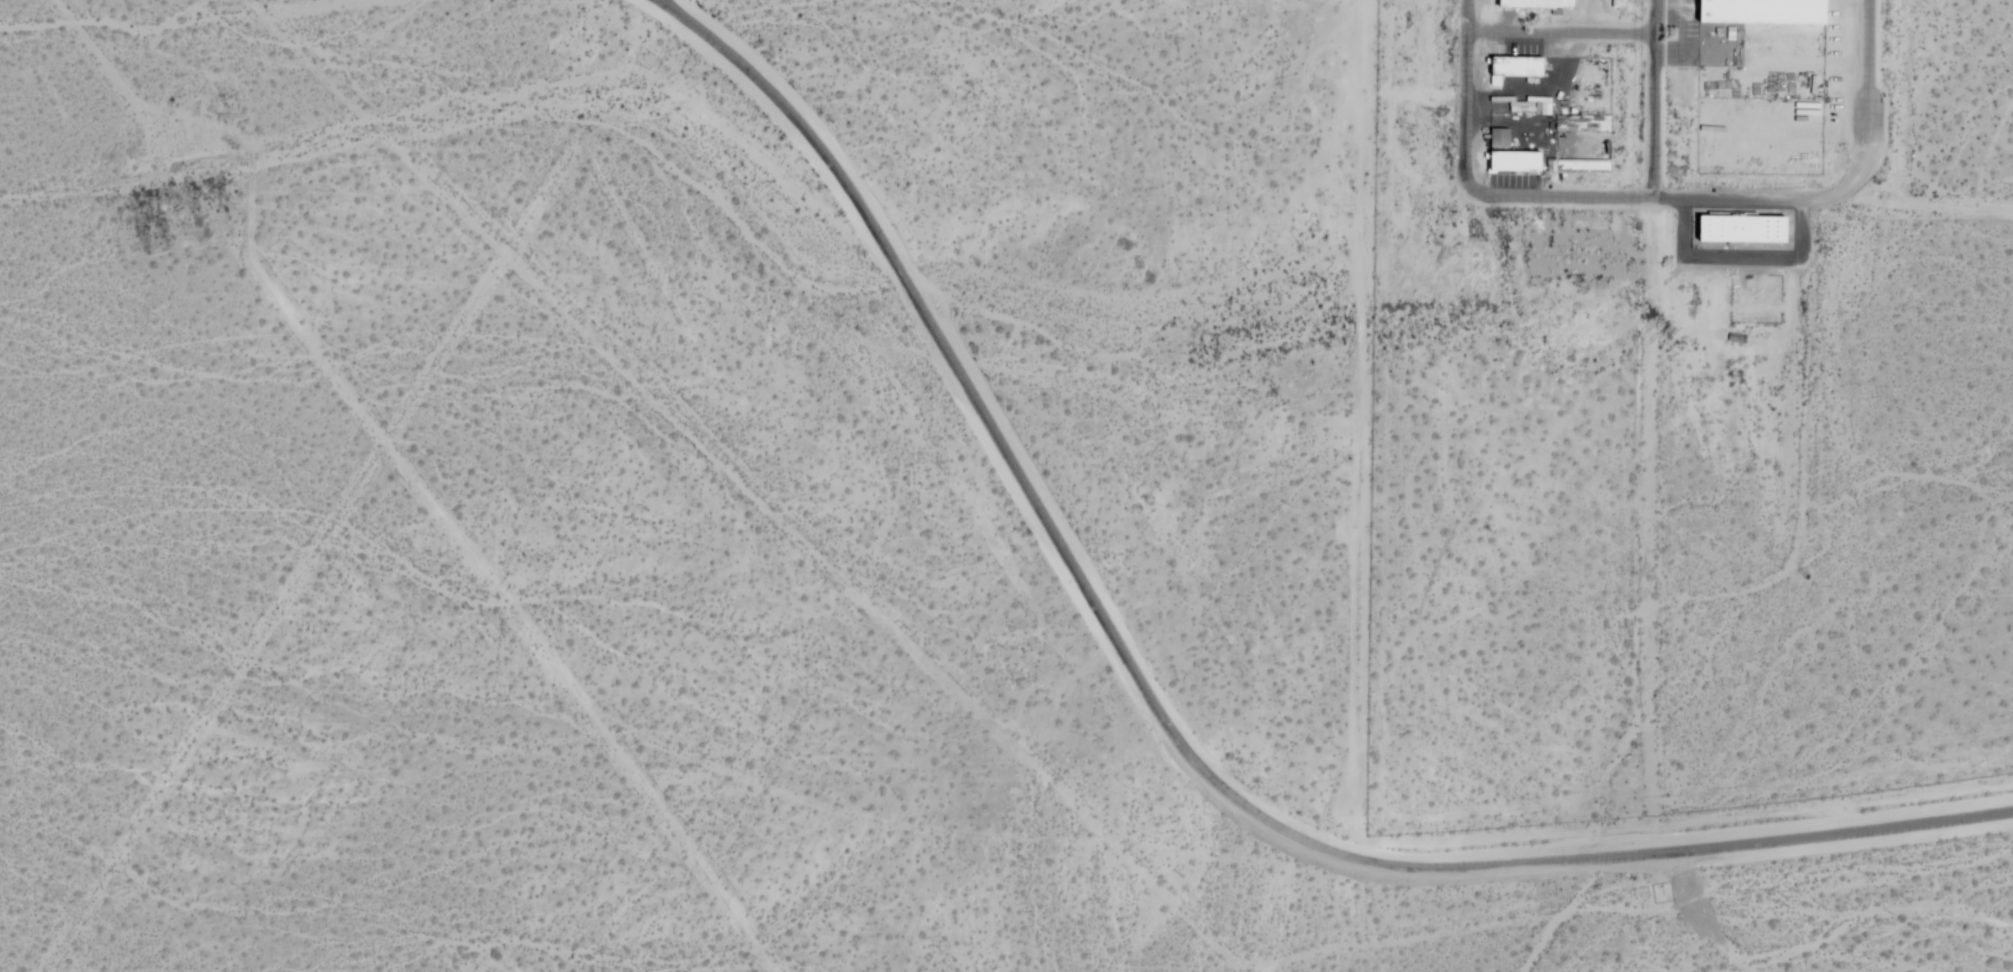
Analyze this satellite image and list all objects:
building: (1534, 4)
building: (1617, 4)
building: (1760, 12)
building: (1515, 67)
road: (1465, 96)
building: (1581, 123)
building: (1498, 138)
building: (1513, 161)
building: (1579, 166)
building: (1740, 229)
road: (1168, 731)

